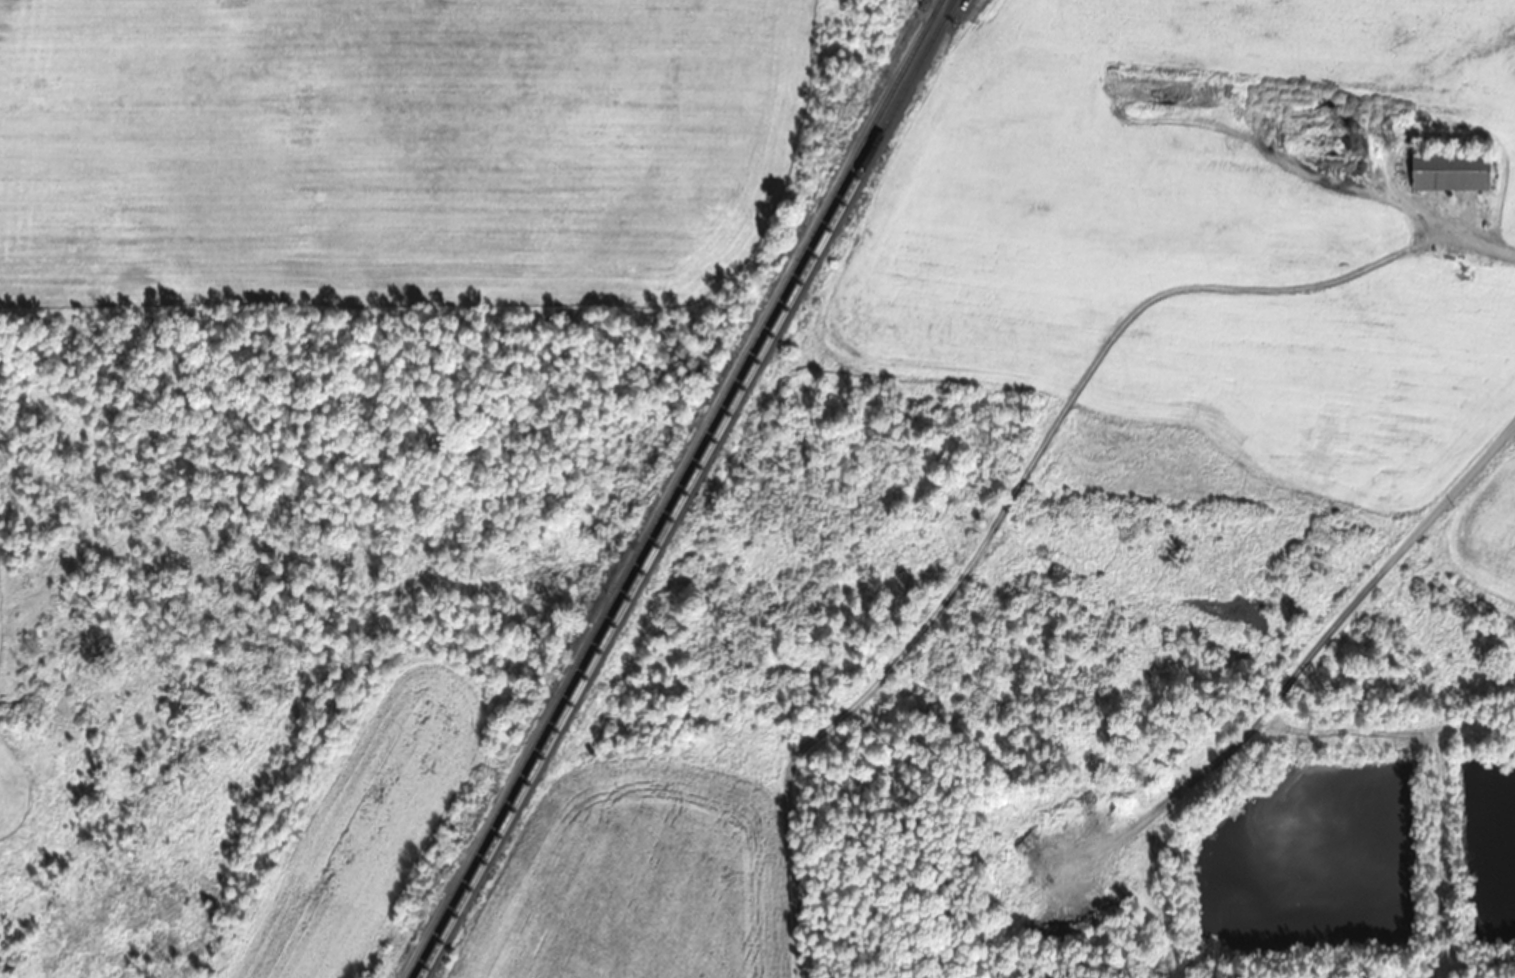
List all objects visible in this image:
building: (1448, 172)
building: (1437, 254)
railway: (674, 489)
railway: (686, 489)

